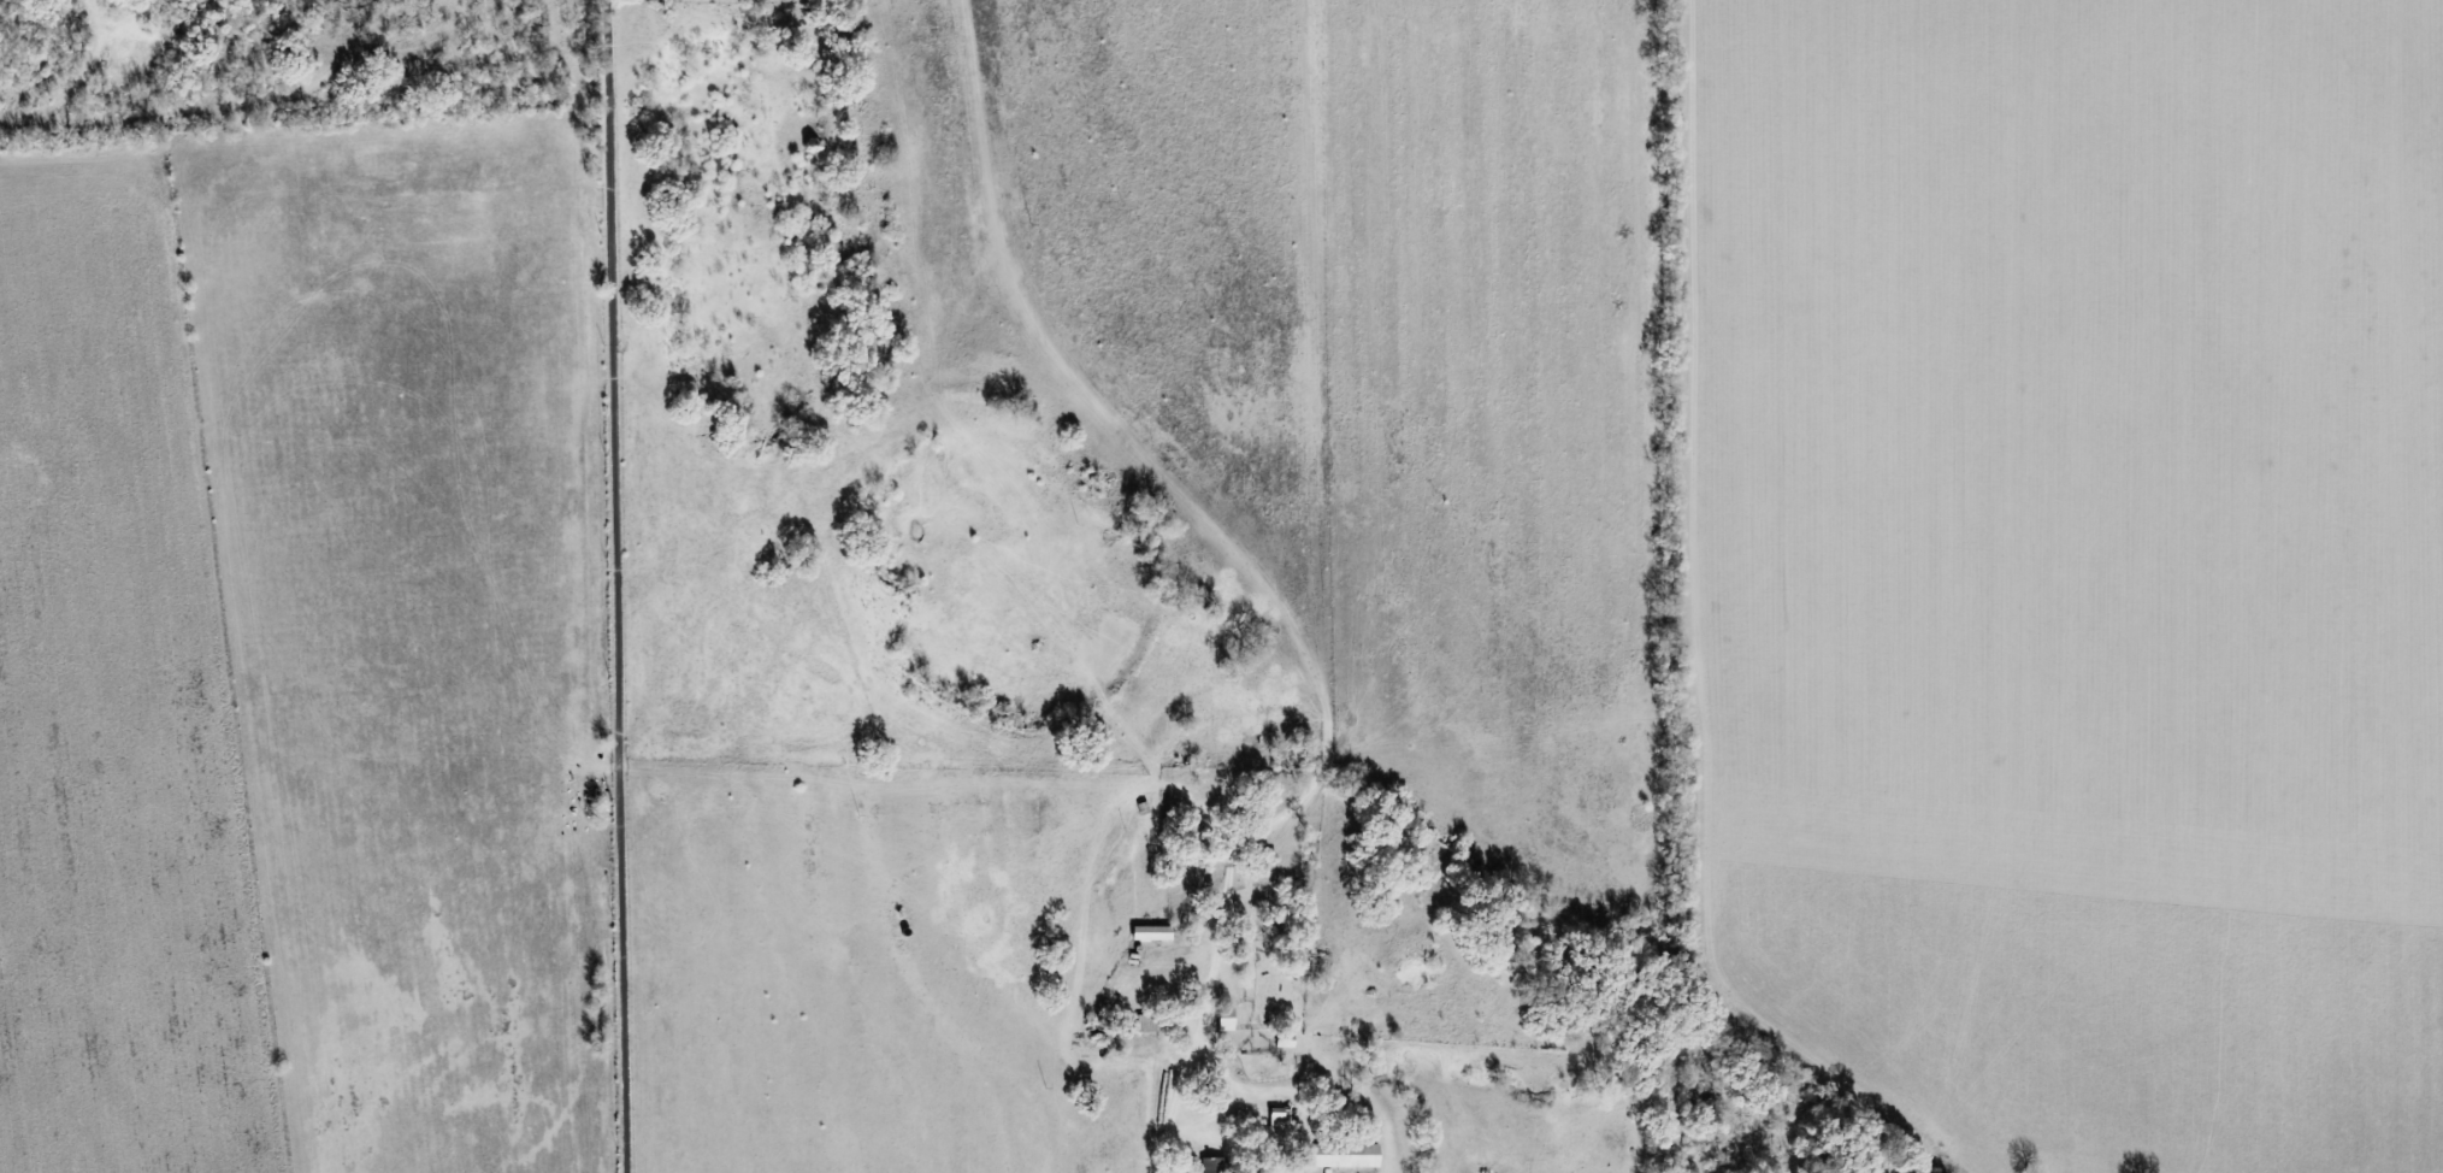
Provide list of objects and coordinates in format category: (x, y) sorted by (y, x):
road: (613, 586)
crop: (411, 620)
crop: (117, 702)
building: (1152, 932)
building: (1226, 1018)
building: (1277, 1114)
building: (1346, 1155)
building: (1212, 1165)
road: (1153, 1171)

